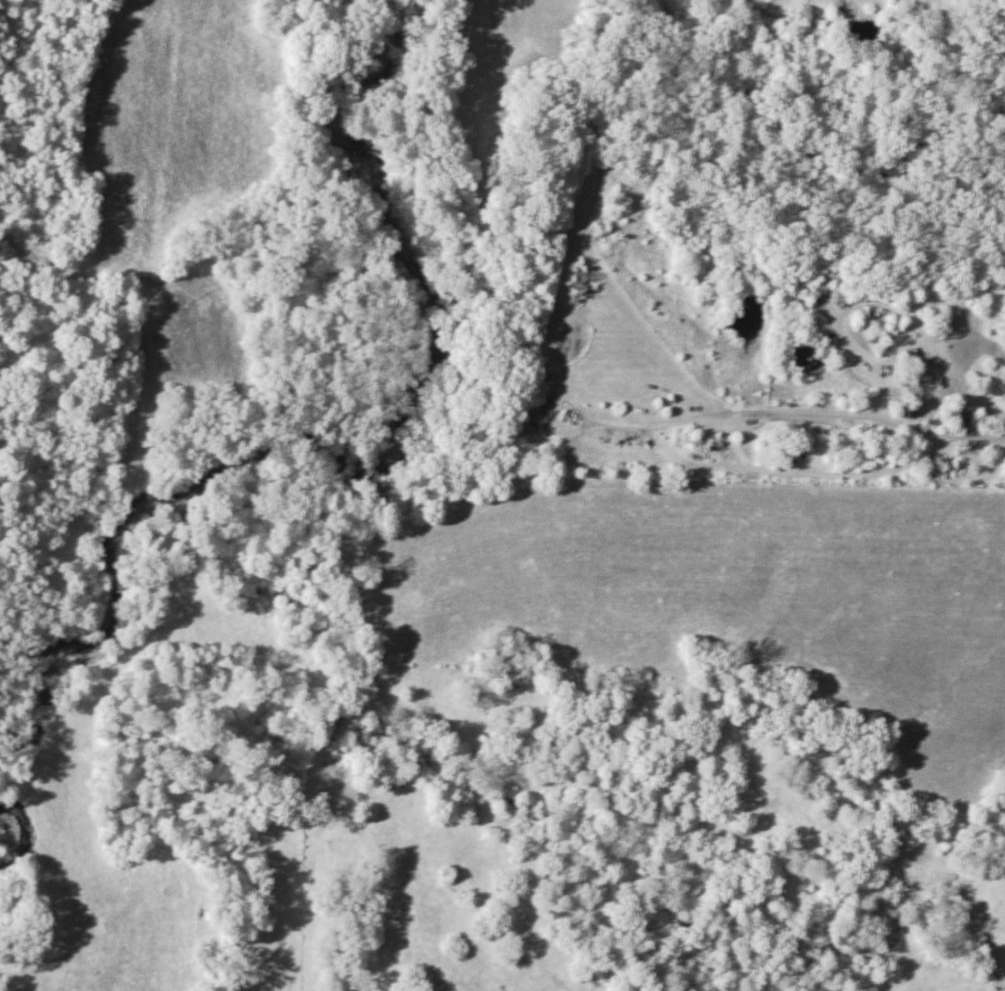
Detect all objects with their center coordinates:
building: (829, 281)

